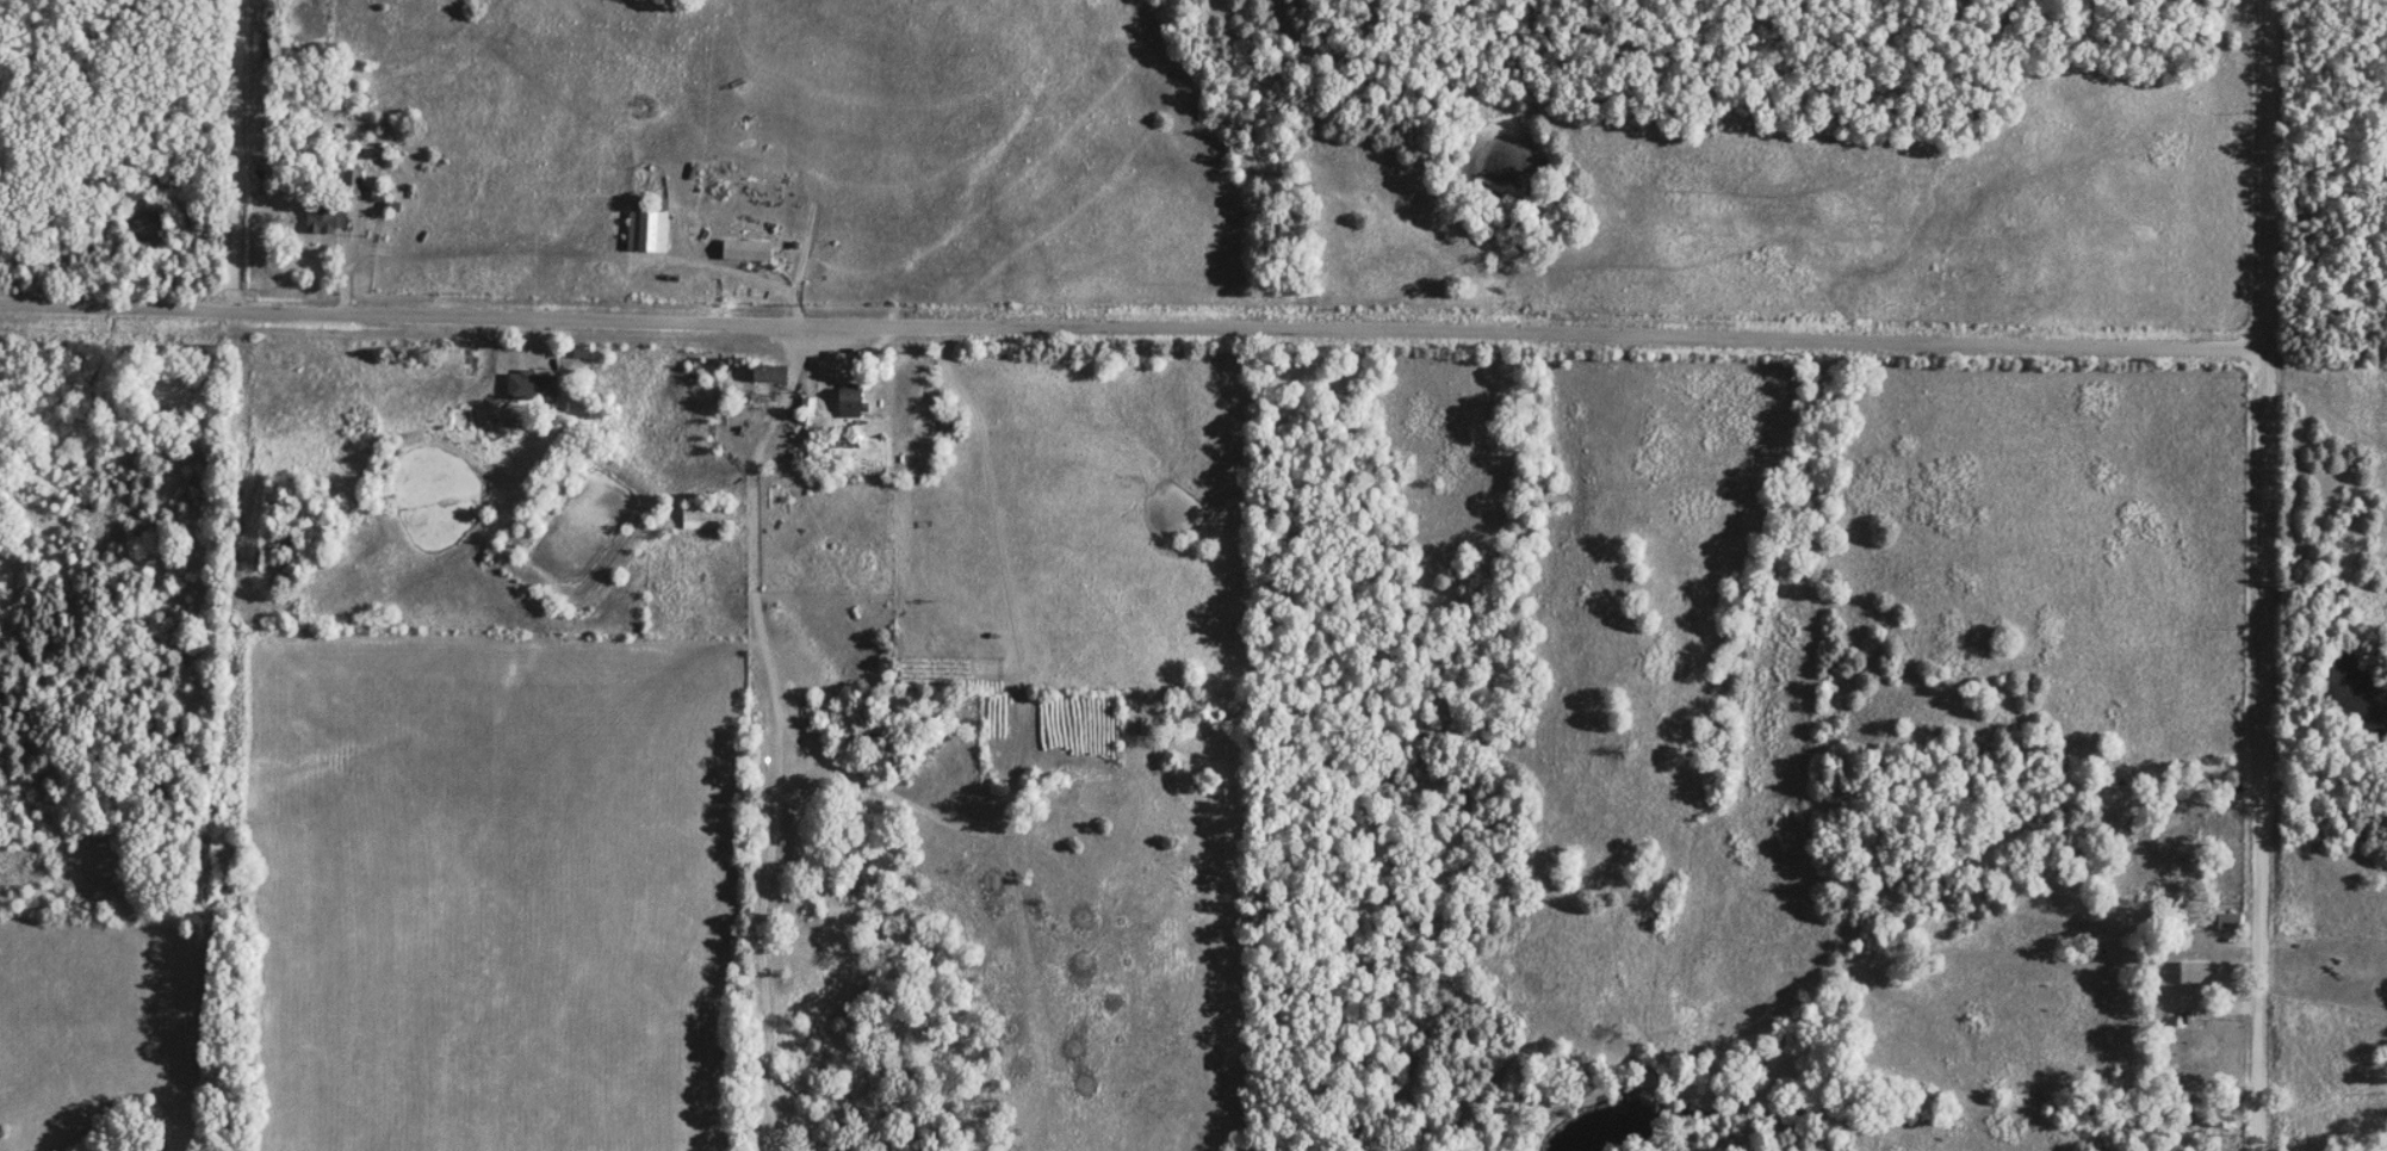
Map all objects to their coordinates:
road: (231, 154)
building: (379, 191)
building: (325, 215)
building: (646, 228)
building: (746, 248)
road: (1131, 324)
building: (769, 371)
building: (533, 384)
building: (850, 398)
building: (806, 408)
building: (706, 514)
road: (2262, 575)
road: (773, 654)
building: (2230, 920)
building: (2200, 971)
road: (2320, 989)
road: (2201, 1005)
building: (2190, 1079)

